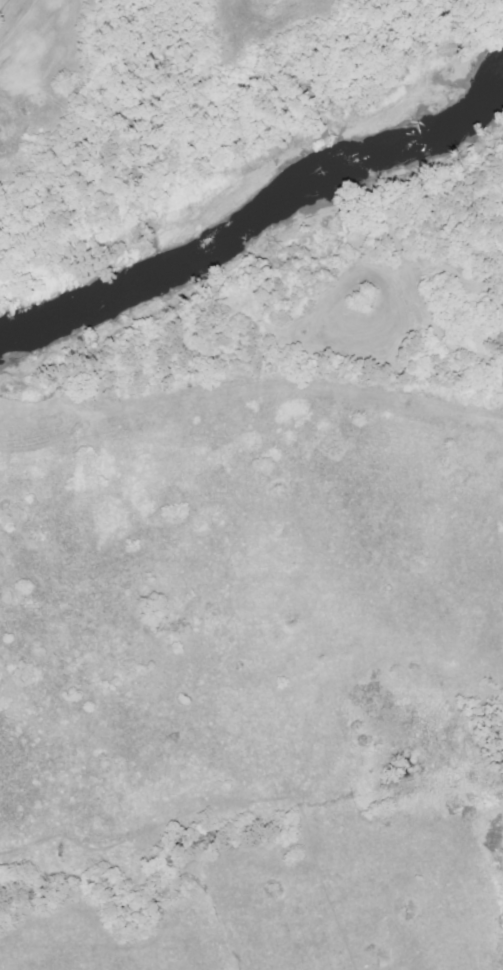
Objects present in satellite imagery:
river: (254, 219)

